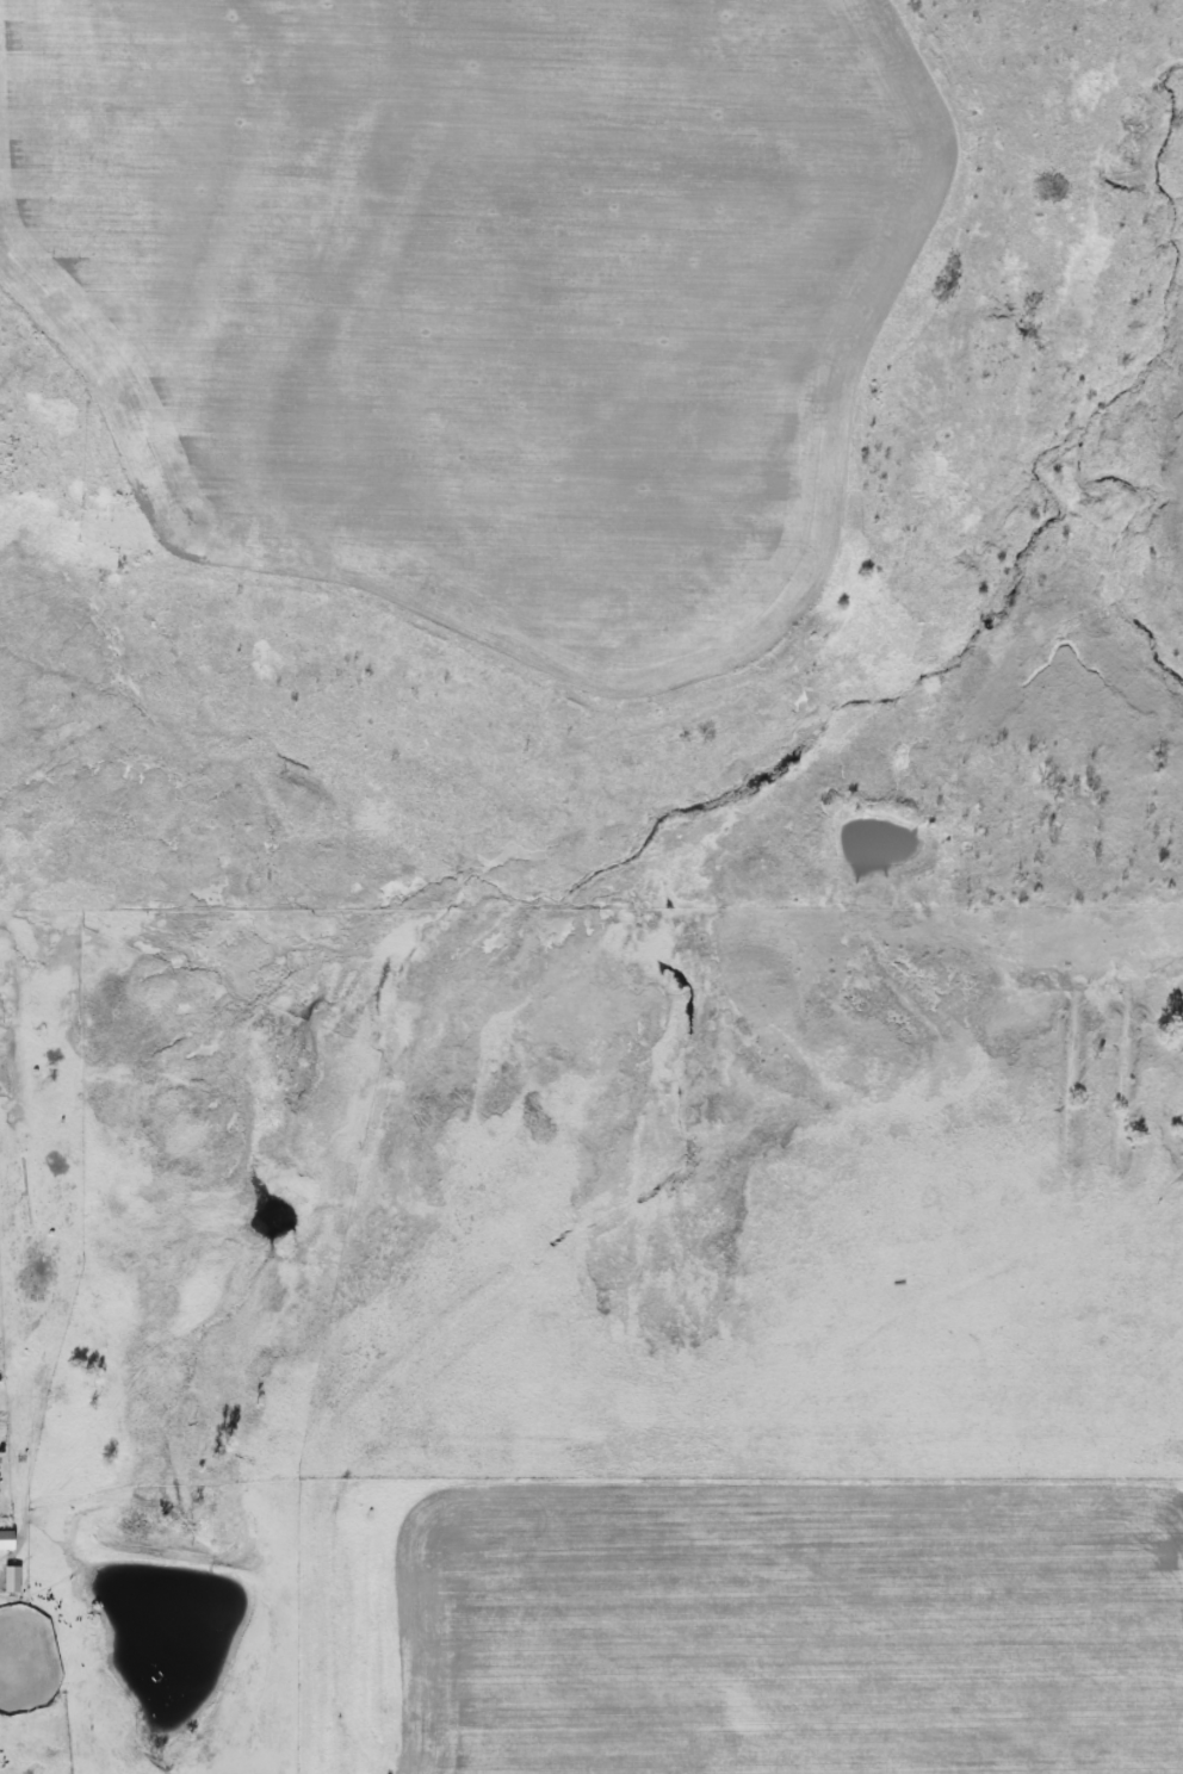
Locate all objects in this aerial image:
building: (6, 1542)
building: (11, 1581)

